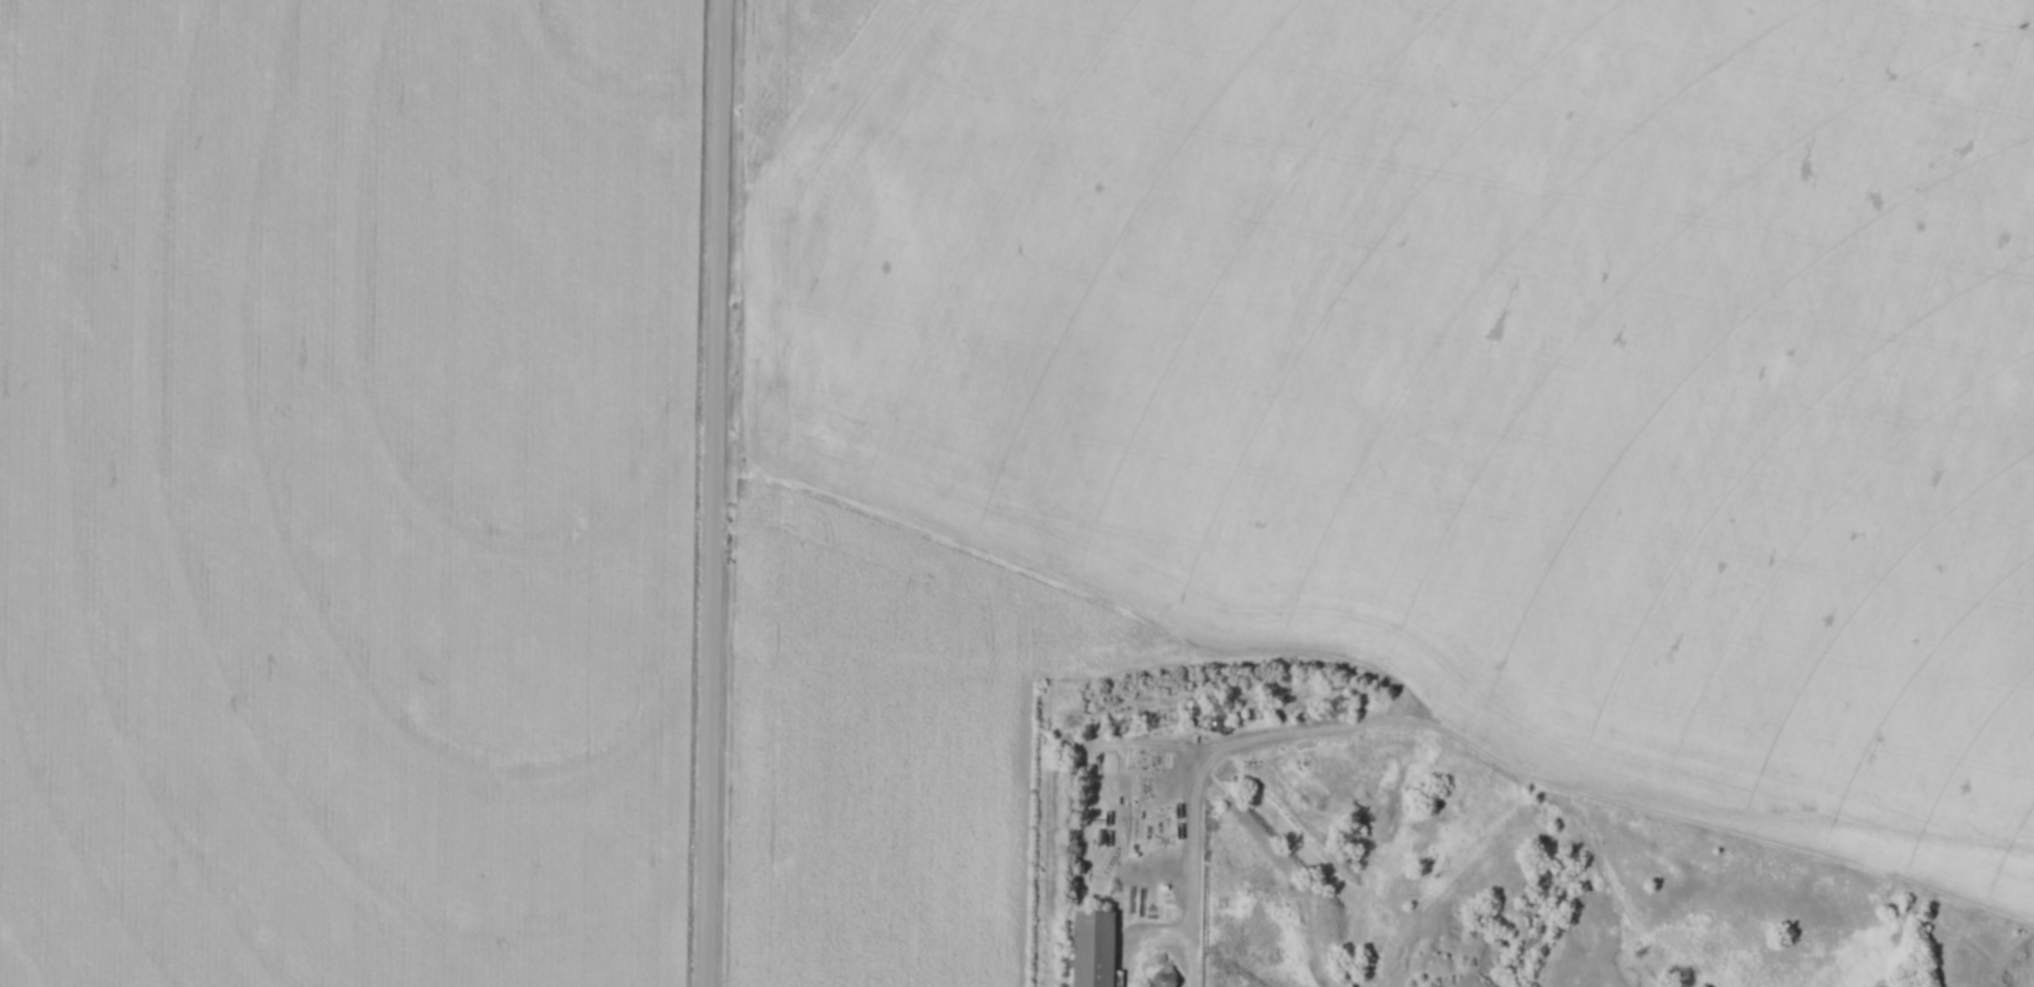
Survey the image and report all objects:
crop: (346, 491)
road: (714, 493)
crop: (884, 746)
building: (1107, 762)
building: (1094, 946)

